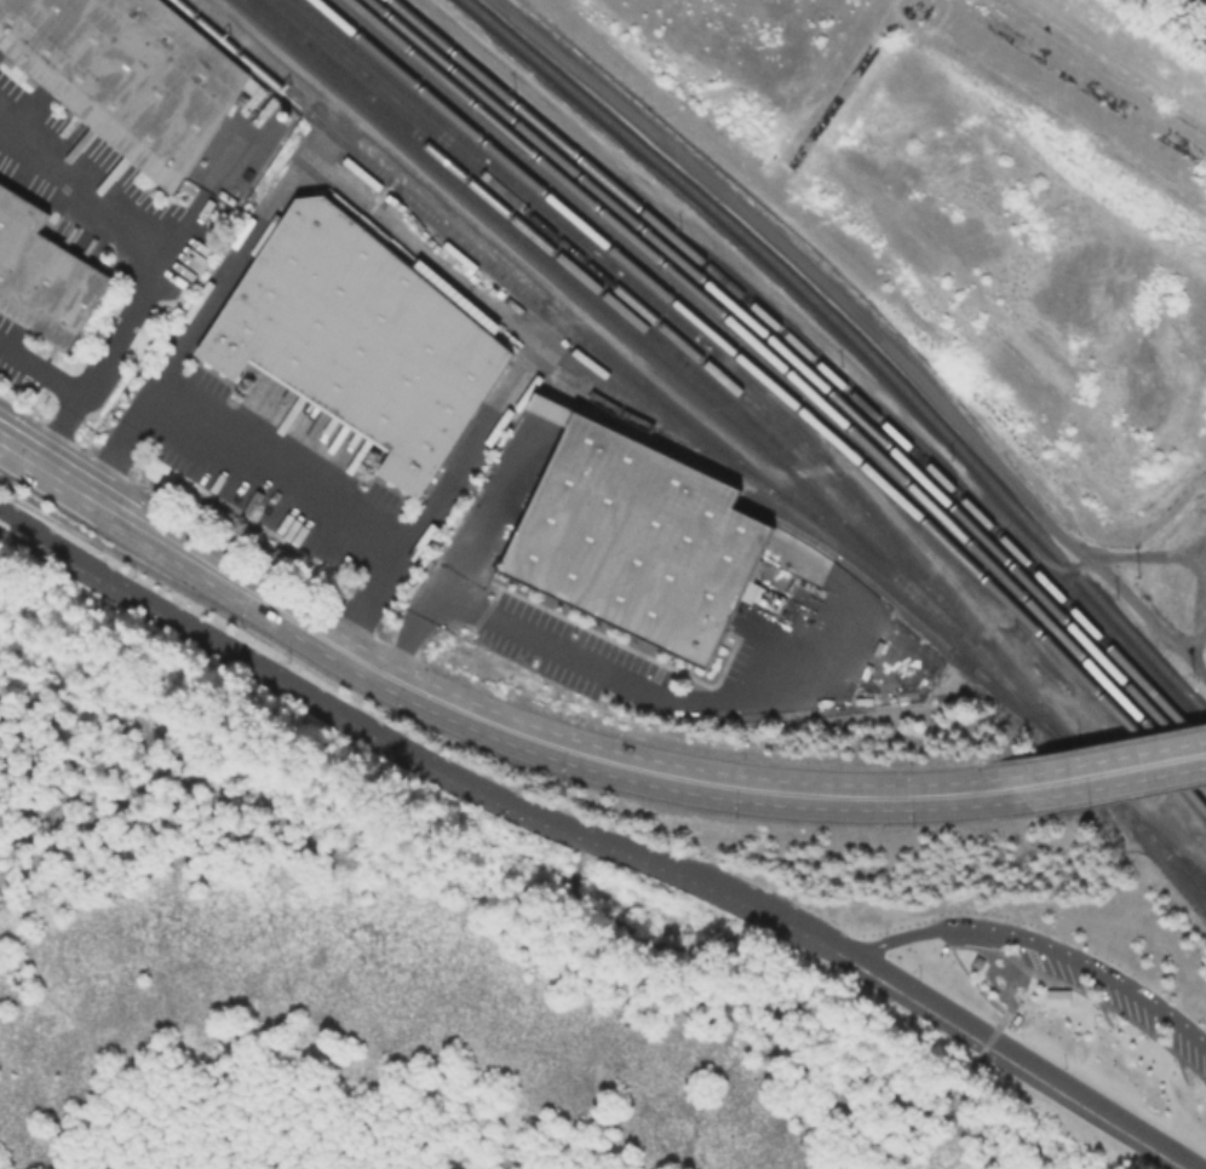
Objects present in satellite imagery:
building: (127, 77)
road: (156, 264)
building: (40, 280)
railway: (605, 280)
railway: (622, 311)
railway: (562, 326)
railway: (683, 329)
building: (356, 340)
railway: (637, 340)
railway: (852, 340)
railway: (534, 358)
railway: (814, 359)
railway: (805, 369)
road: (40, 370)
road: (653, 374)
railway: (796, 379)
railway: (776, 390)
road: (483, 425)
road: (46, 465)
road: (276, 471)
building: (631, 541)
railway: (915, 621)
road: (538, 641)
road: (459, 681)
road: (524, 735)
road: (1096, 745)
road: (487, 749)
road: (1109, 772)
road: (1120, 796)
road: (1161, 797)
railway: (1115, 802)
road: (603, 834)
railway: (1154, 835)
road: (590, 846)
railway: (1195, 874)
road: (630, 949)
road: (1041, 949)
building: (975, 964)
road: (980, 992)
building: (1055, 1001)
parking lot: (1116, 1008)

